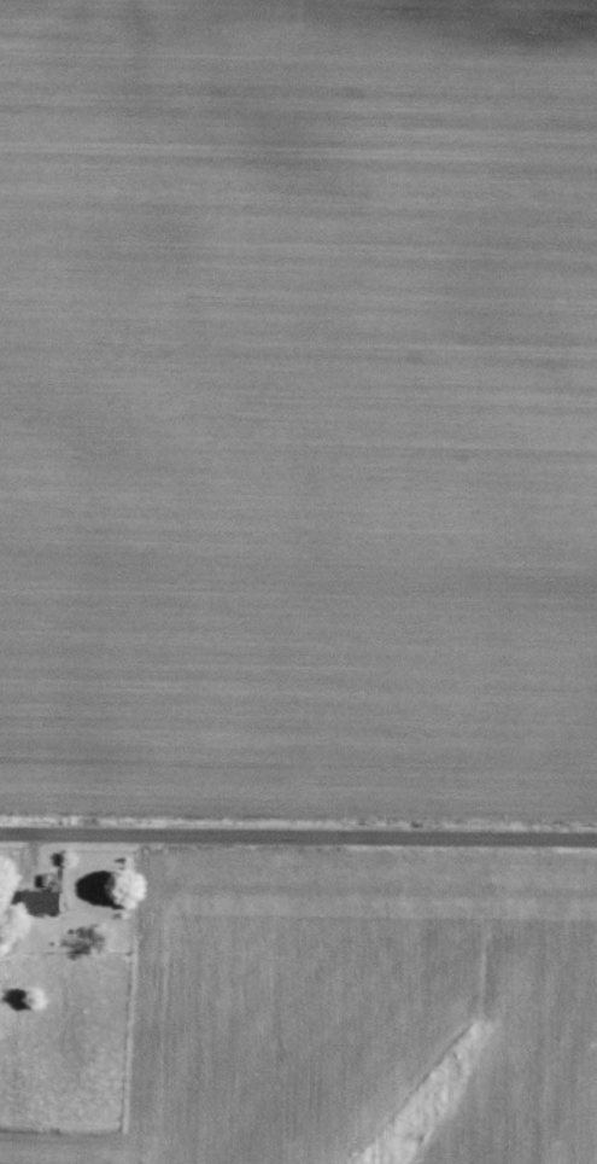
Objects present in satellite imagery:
road: (298, 838)
building: (41, 901)

